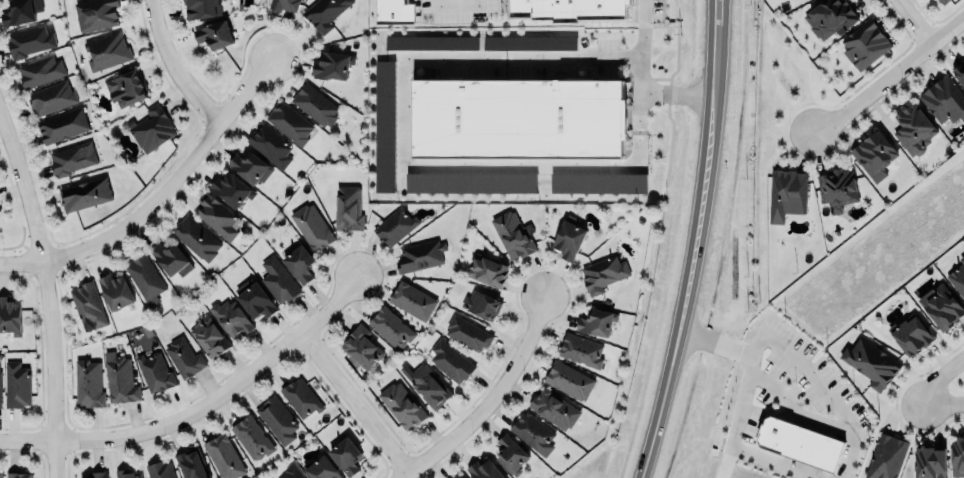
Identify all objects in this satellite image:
building: (943, 1)
building: (282, 5)
road: (457, 5)
building: (202, 8)
building: (562, 8)
building: (394, 11)
building: (18, 13)
building: (324, 13)
road: (711, 13)
building: (96, 14)
building: (830, 17)
road: (911, 21)
road: (661, 29)
building: (215, 35)
building: (29, 40)
building: (431, 43)
building: (529, 43)
building: (864, 45)
building: (107, 50)
road: (571, 58)
road: (637, 64)
building: (331, 66)
road: (174, 67)
building: (40, 70)
building: (959, 72)
road: (888, 74)
road: (656, 80)
building: (126, 87)
road: (672, 92)
building: (49, 98)
road: (664, 100)
building: (944, 100)
parking lot: (509, 101)
building: (314, 105)
building: (517, 117)
building: (289, 123)
building: (61, 125)
building: (384, 126)
building: (152, 129)
building: (913, 129)
building: (269, 146)
building: (874, 155)
building: (72, 158)
road: (433, 166)
building: (250, 168)
building: (470, 183)
building: (598, 183)
building: (232, 189)
building: (837, 189)
building: (786, 194)
building: (84, 195)
road: (158, 195)
building: (348, 209)
building: (216, 216)
building: (311, 227)
building: (393, 227)
building: (512, 235)
building: (197, 238)
building: (569, 238)
road: (689, 253)
building: (420, 255)
building: (169, 258)
building: (299, 264)
building: (487, 272)
building: (603, 274)
building: (145, 278)
building: (958, 278)
building: (278, 280)
road: (46, 290)
building: (116, 292)
building: (256, 301)
building: (412, 301)
building: (481, 305)
building: (88, 306)
building: (940, 307)
building: (9, 317)
building: (231, 318)
building: (596, 320)
building: (390, 328)
building: (467, 333)
building: (911, 336)
building: (209, 337)
road: (713, 343)
building: (362, 348)
building: (581, 350)
building: (184, 357)
building: (871, 361)
building: (450, 362)
building: (0, 366)
building: (154, 372)
building: (120, 379)
building: (569, 379)
building: (16, 383)
building: (89, 384)
building: (427, 385)
road: (824, 389)
road: (929, 392)
building: (0, 394)
building: (301, 399)
road: (493, 400)
road: (356, 404)
building: (402, 406)
building: (554, 407)
road: (792, 409)
road: (201, 411)
parking lot: (785, 411)
road: (733, 416)
building: (277, 419)
building: (533, 431)
building: (251, 438)
building: (798, 446)
building: (510, 454)
building: (887, 455)
building: (957, 455)
building: (346, 457)
building: (224, 458)
road: (773, 460)
building: (930, 461)
building: (192, 464)
building: (321, 469)
building: (485, 469)
building: (159, 470)
building: (291, 472)
building: (1, 474)
building: (98, 474)
building: (126, 474)
building: (18, 475)
building: (459, 476)

